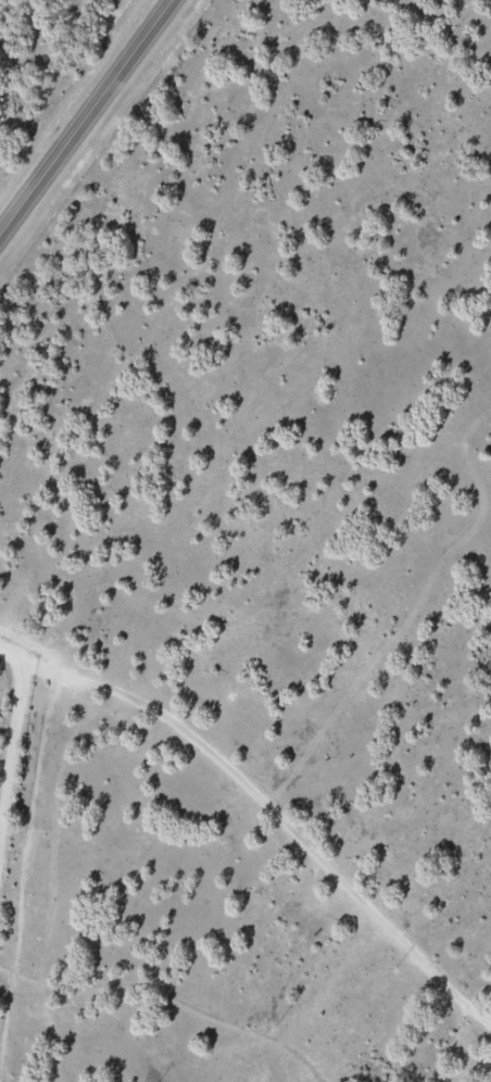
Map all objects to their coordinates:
road: (91, 124)
road: (17, 769)
road: (265, 800)

